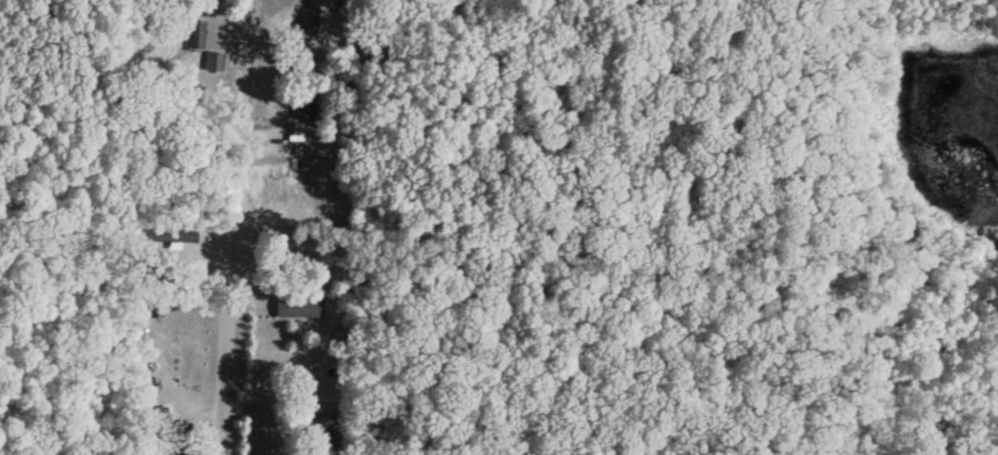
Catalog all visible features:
building: (323, 5)
building: (195, 34)
building: (214, 61)
road: (238, 155)
building: (179, 235)
road: (117, 239)
building: (296, 307)
road: (224, 382)
building: (324, 426)

